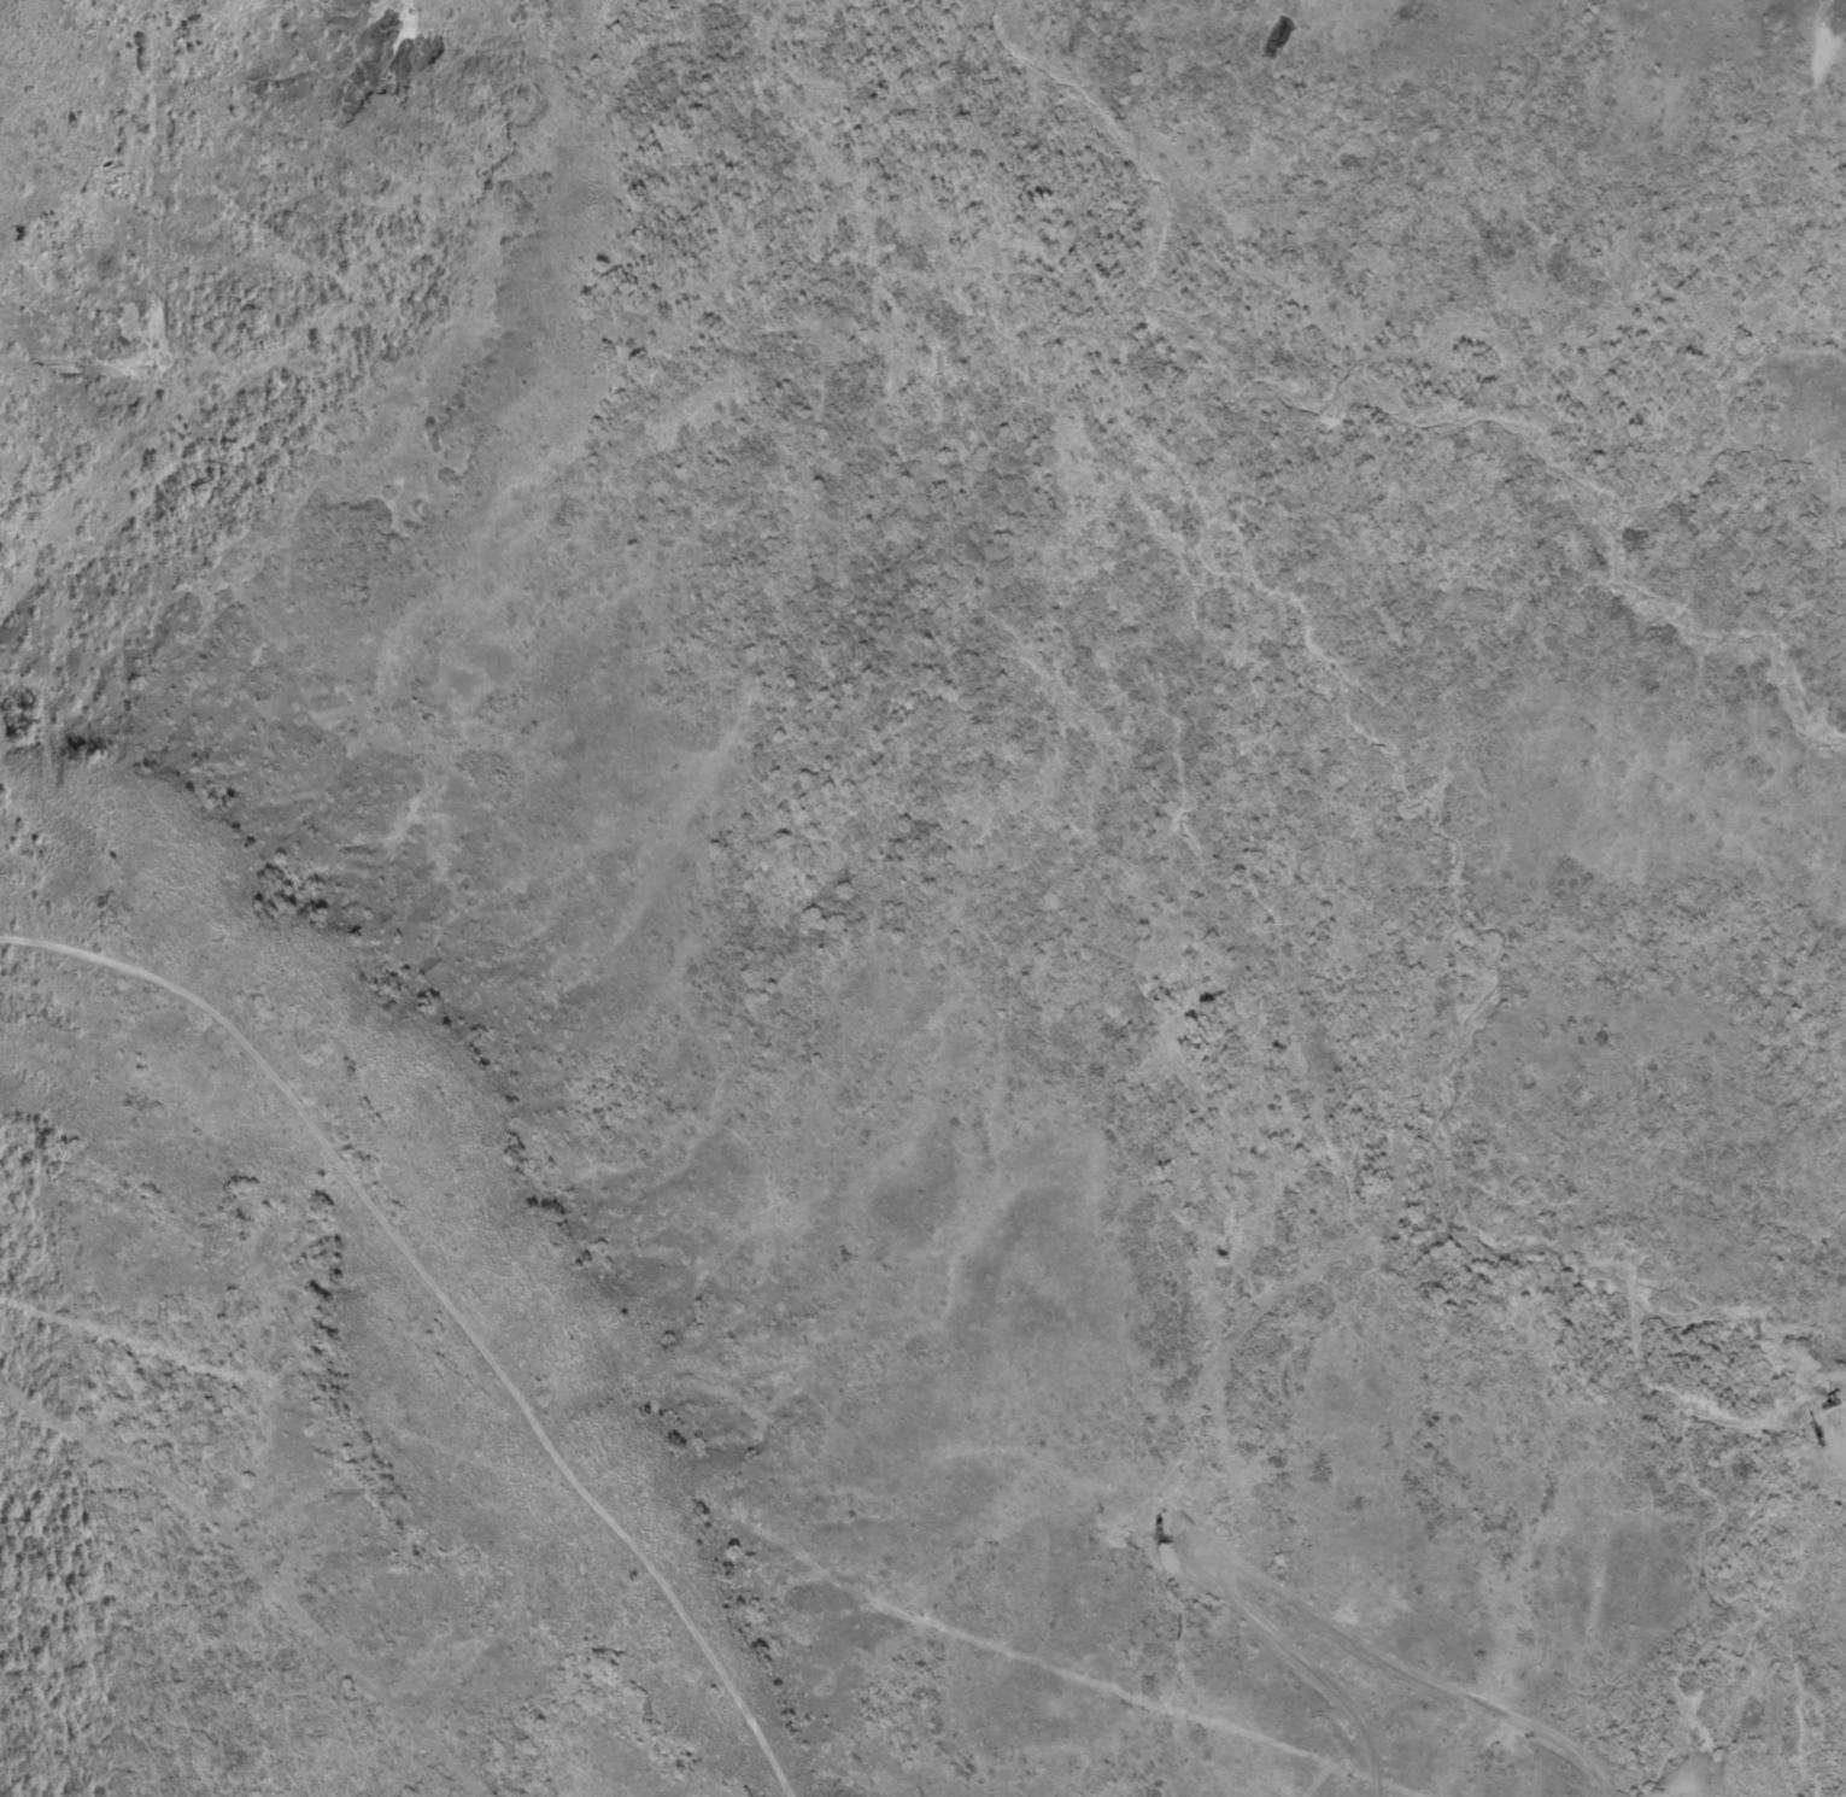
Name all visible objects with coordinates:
road: (433, 1300)
road: (122, 1679)

